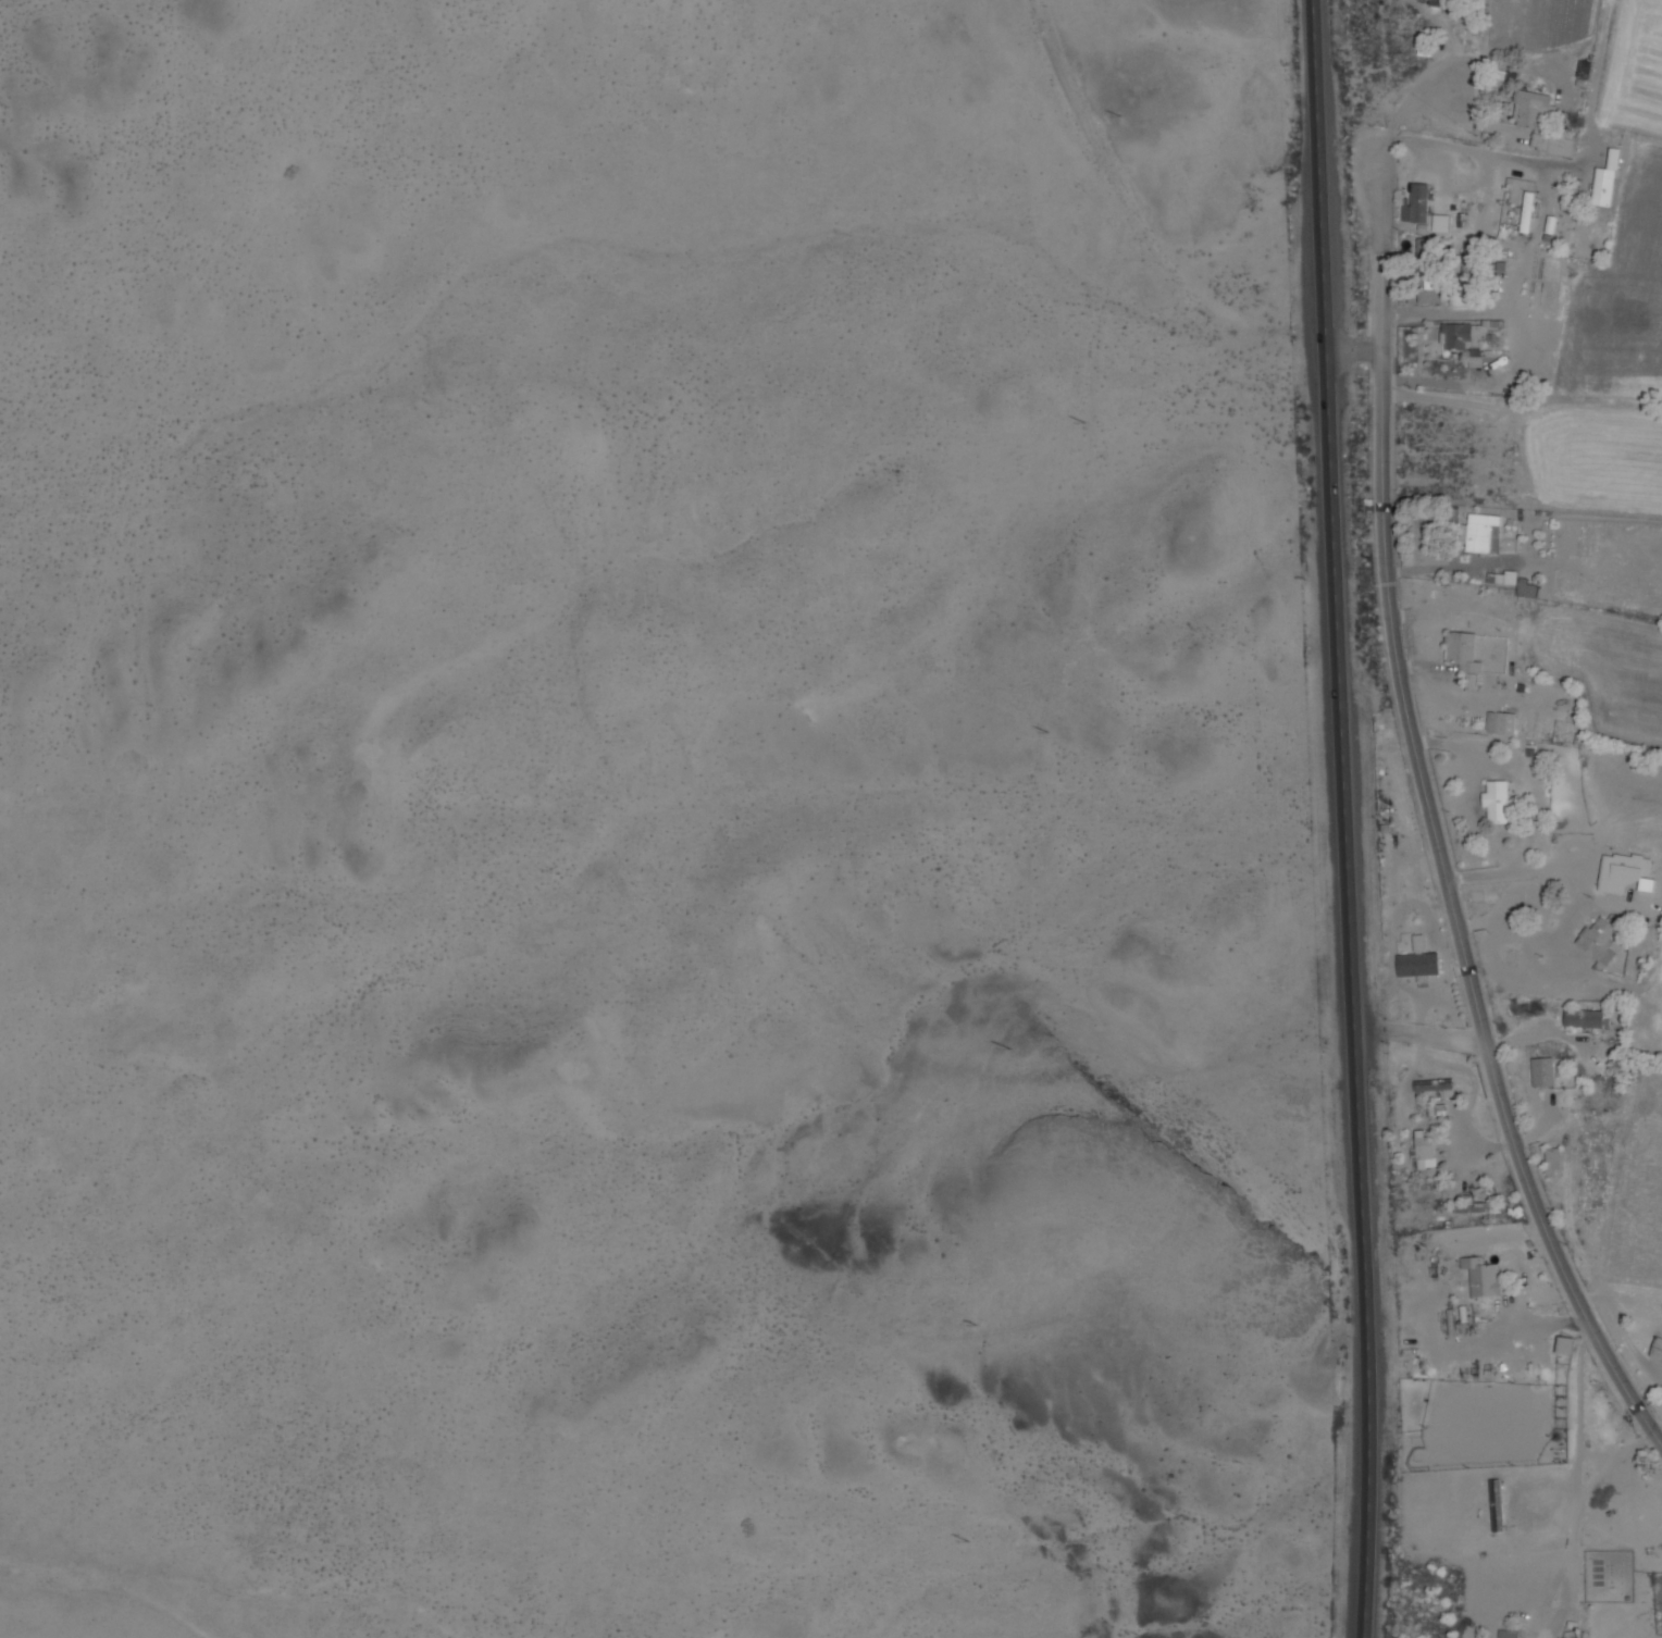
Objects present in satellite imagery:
building: (1539, 122)
road: (1324, 175)
building: (1603, 186)
road: (1385, 203)
building: (1416, 203)
building: (1527, 211)
road: (1540, 224)
road: (1486, 383)
road: (1381, 395)
building: (1478, 532)
building: (1526, 590)
building: (1463, 654)
building: (1500, 722)
building: (1496, 801)
building: (1622, 873)
building: (1599, 940)
building: (1417, 961)
road: (1473, 982)
road: (1351, 994)
building: (1584, 1017)
road: (1374, 1029)
road: (1441, 1039)
building: (1542, 1071)
building: (1435, 1085)
building: (1423, 1150)
building: (1551, 1162)
building: (1481, 1276)
building: (1564, 1344)
building: (1657, 1349)
building: (1496, 1504)
building: (1509, 1634)

